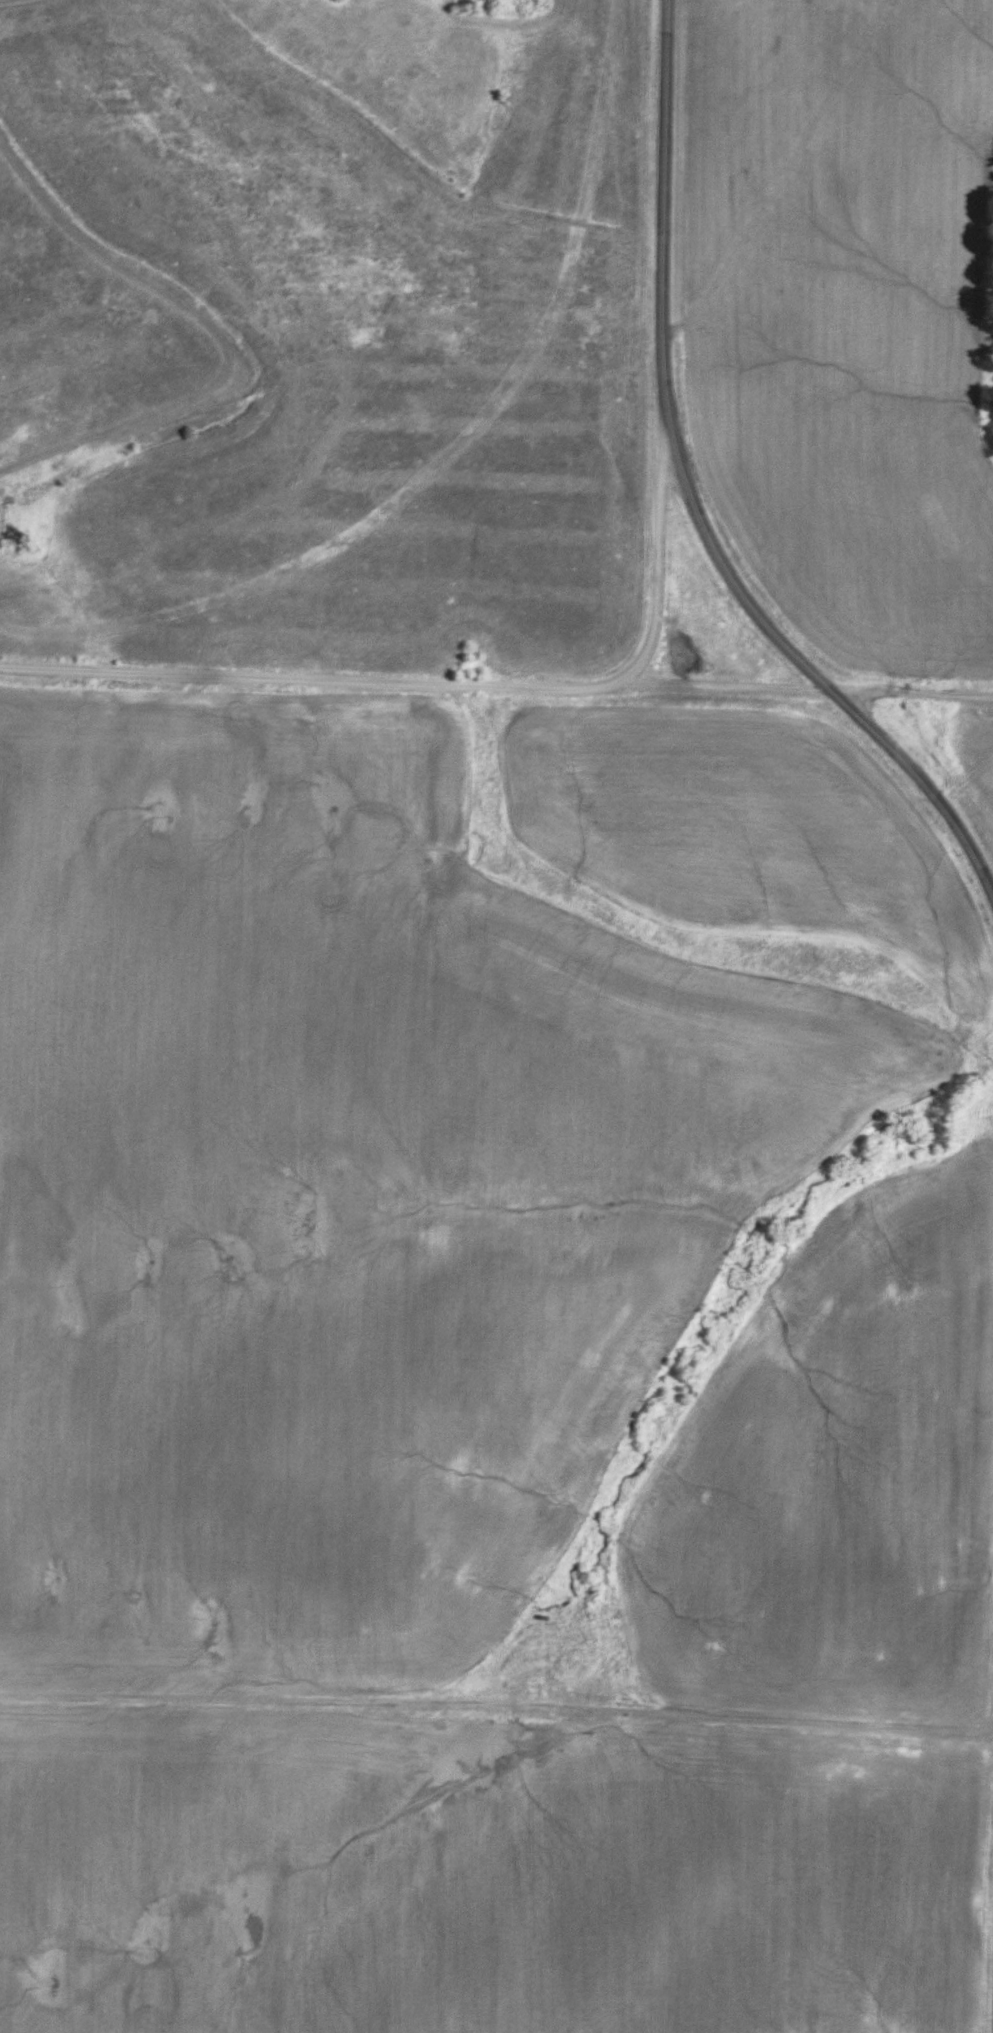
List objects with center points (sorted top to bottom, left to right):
road: (689, 500)
road: (465, 685)
road: (727, 687)

